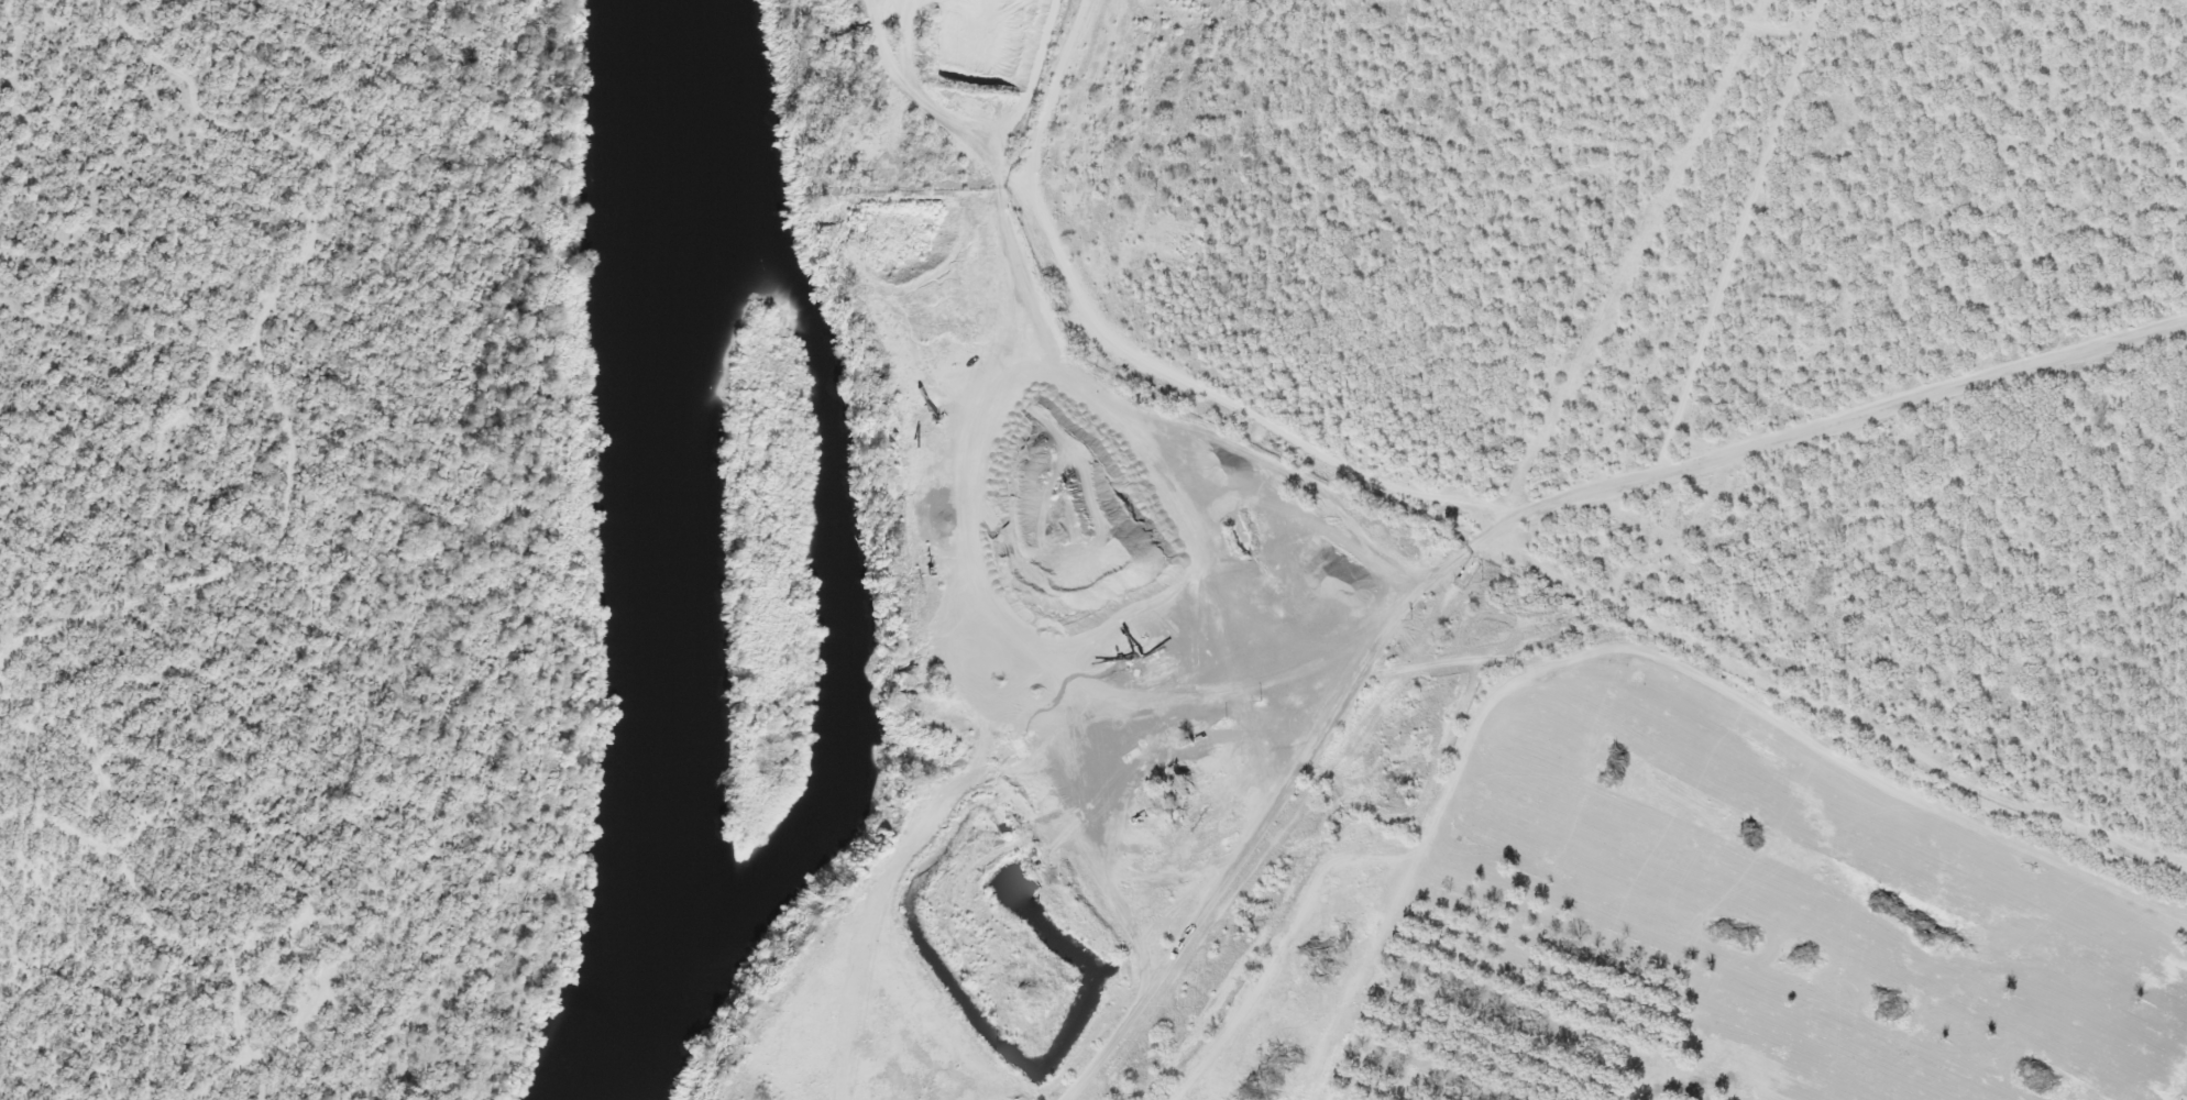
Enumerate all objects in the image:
road: (1493, 522)
road: (1483, 541)
river: (651, 555)
river: (843, 586)

